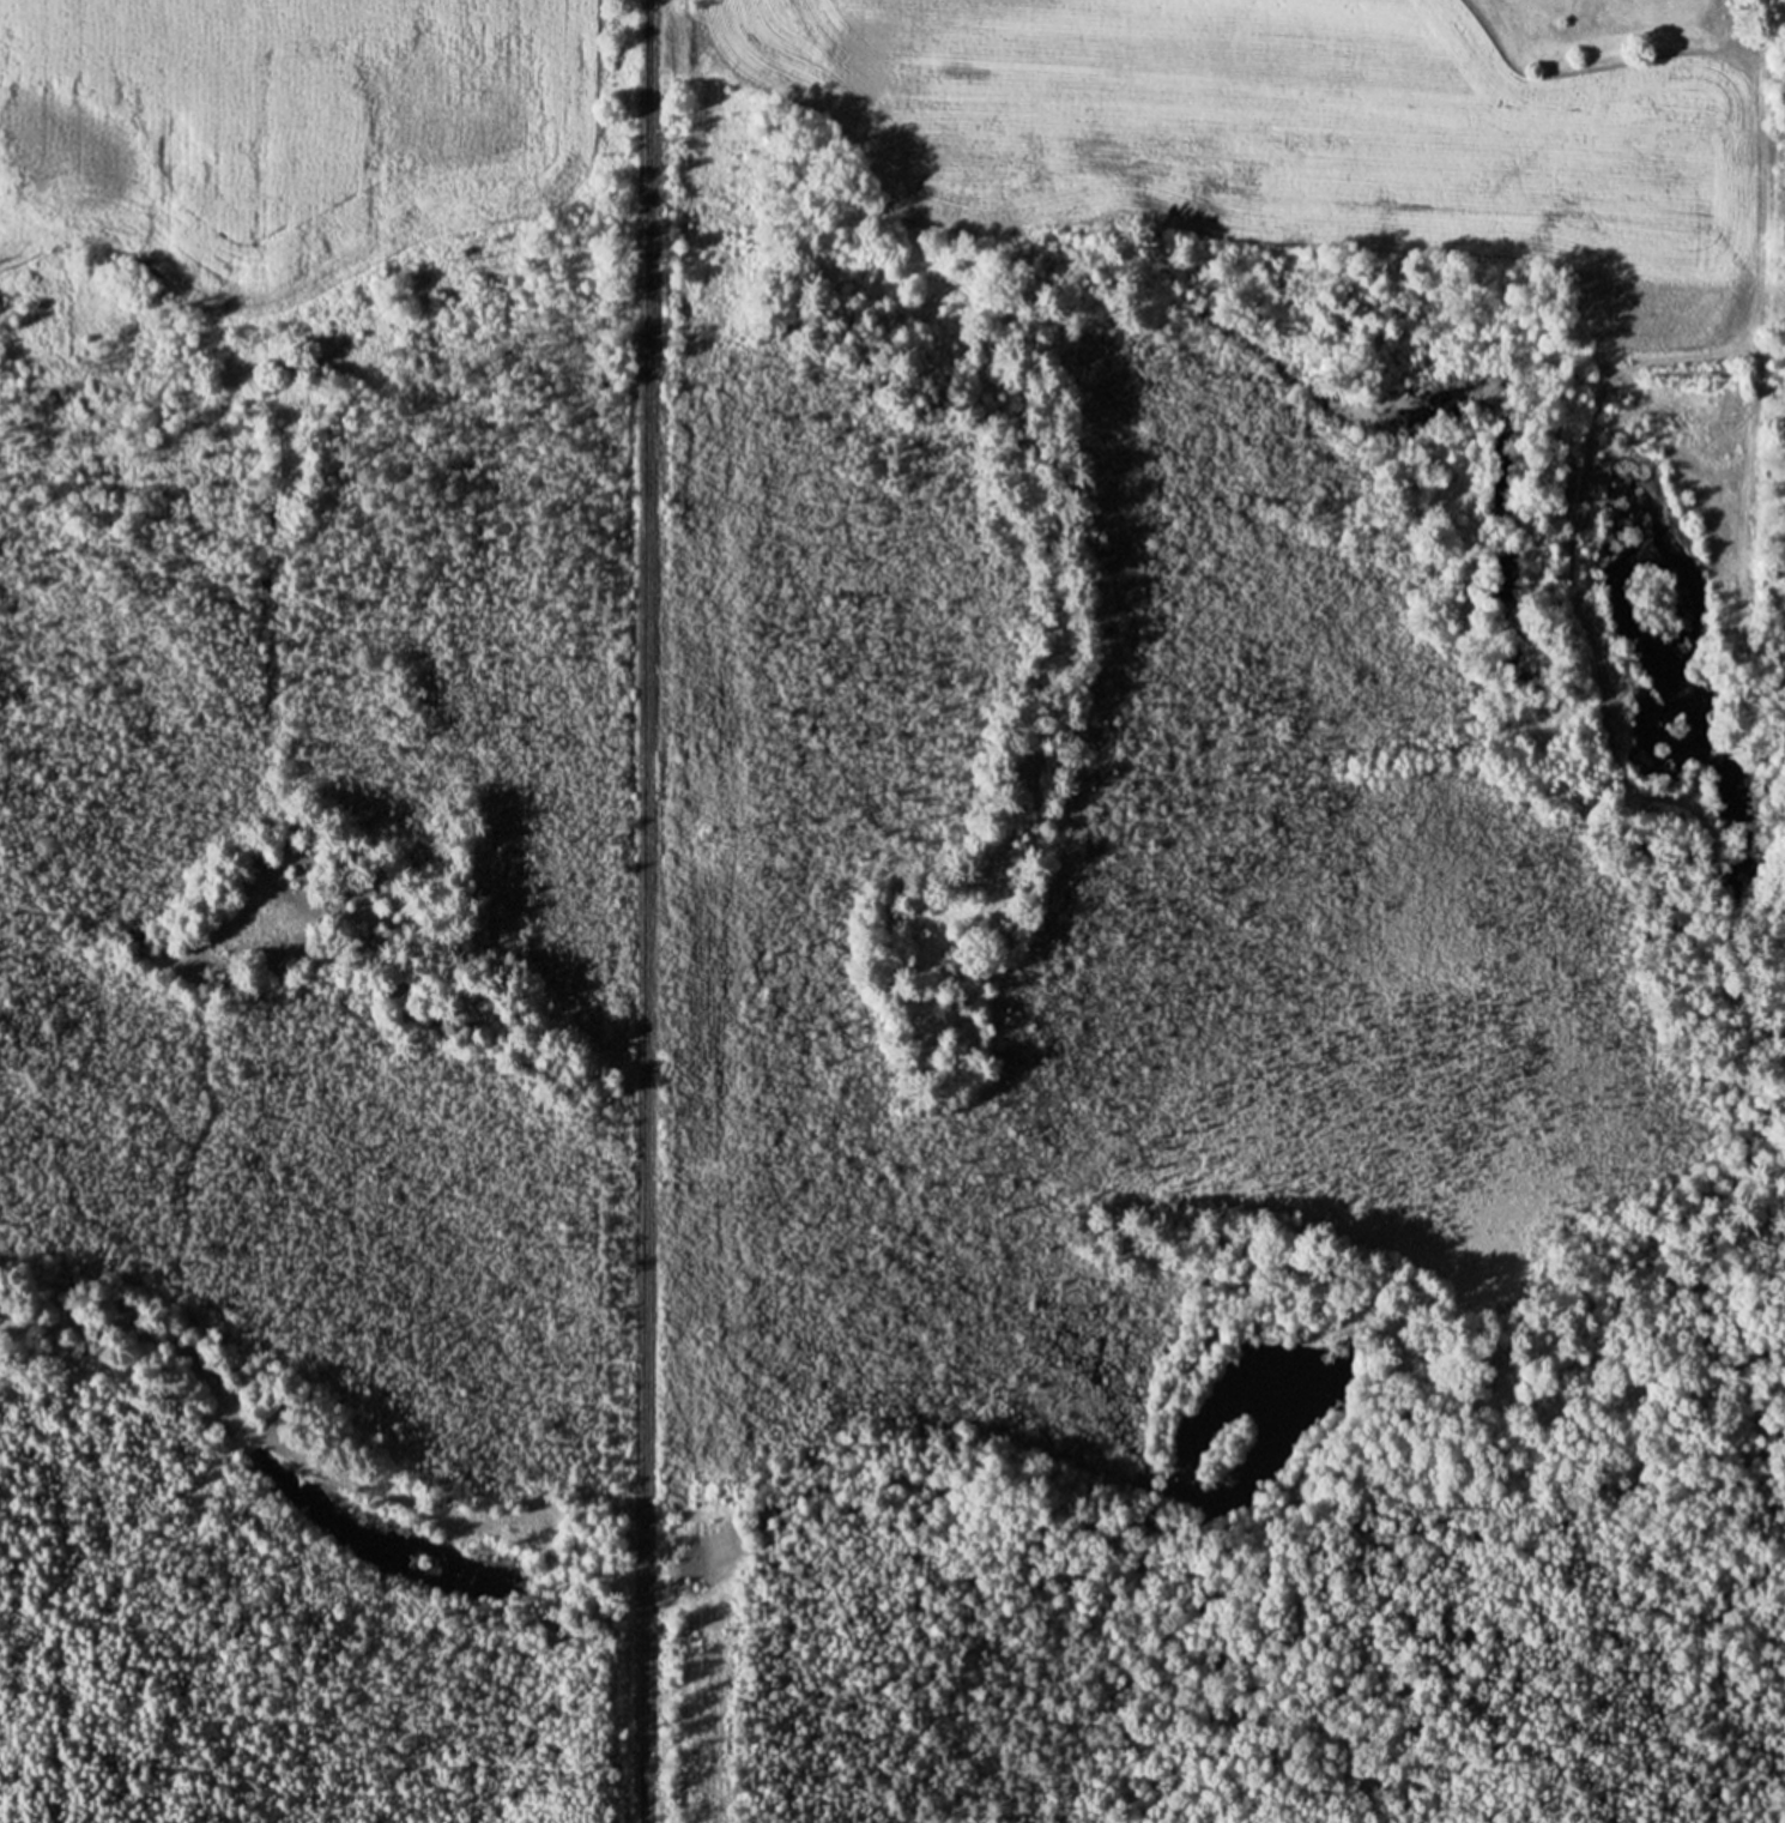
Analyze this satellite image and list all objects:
power tower: (709, 373)
power tower: (706, 837)
railway: (641, 911)
power tower: (704, 1339)
road: (253, 1429)
power tower: (702, 1744)

